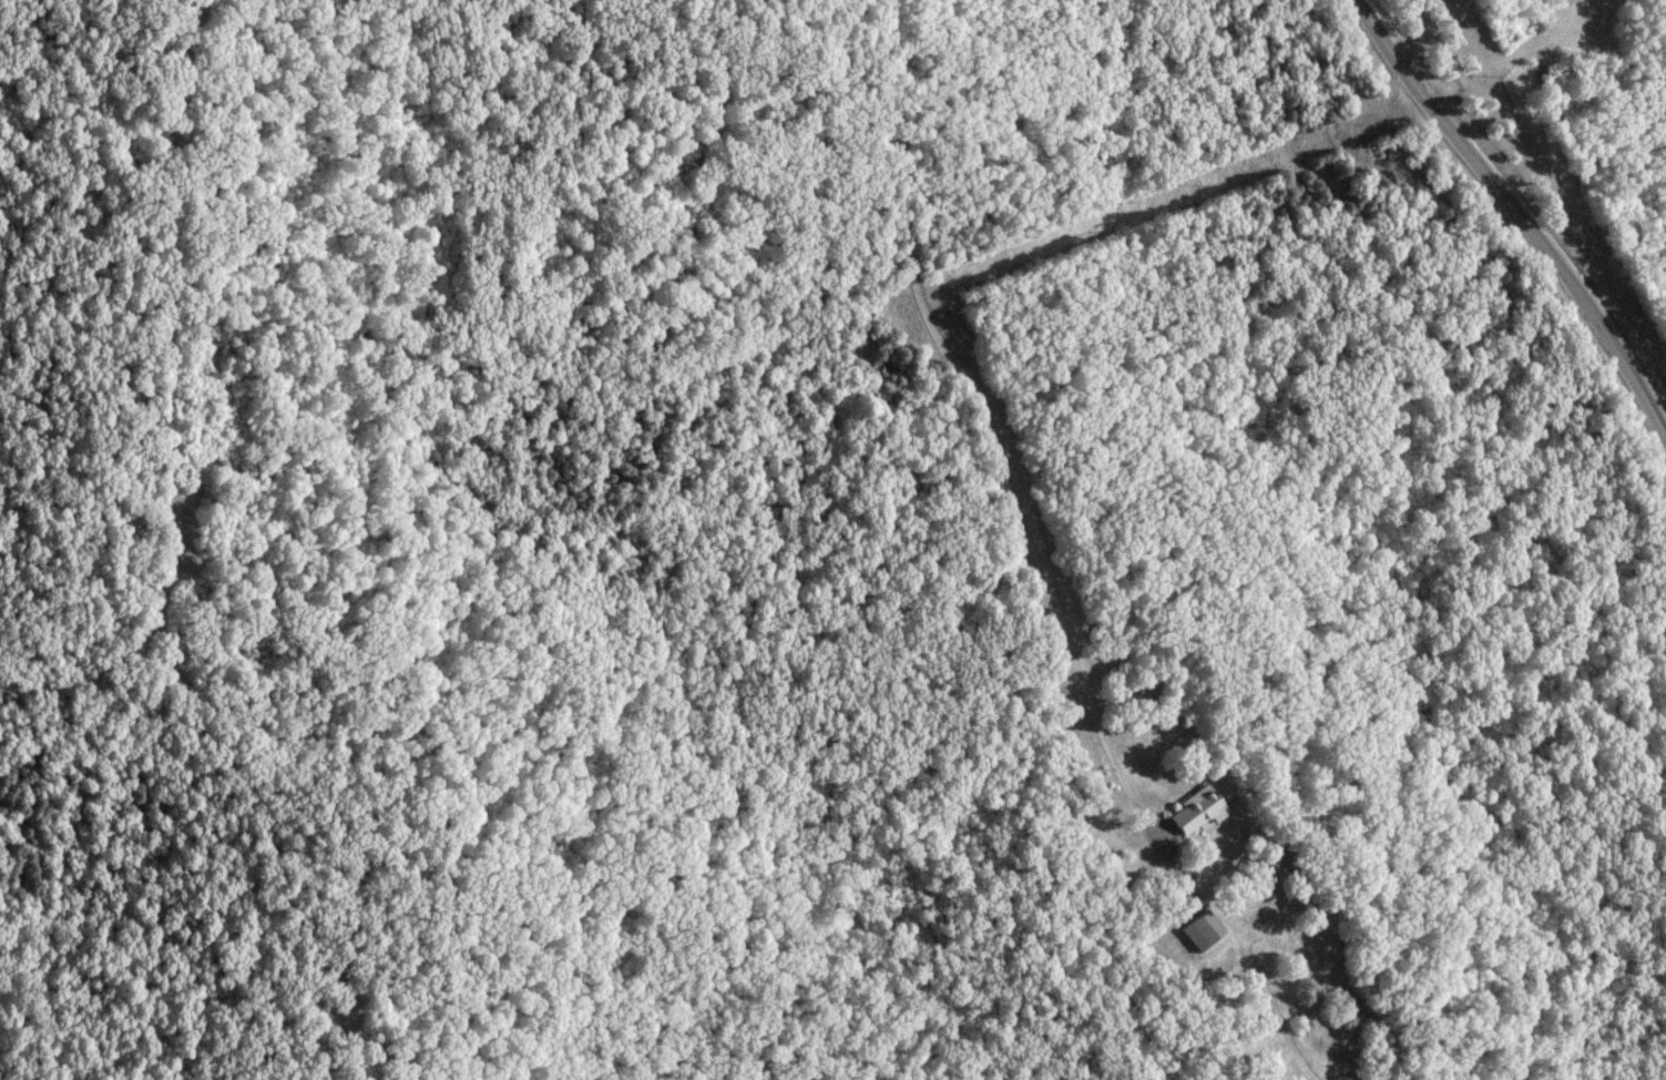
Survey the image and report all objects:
road: (1520, 210)
road: (170, 397)
road: (994, 430)
building: (1199, 813)
building: (1207, 931)

